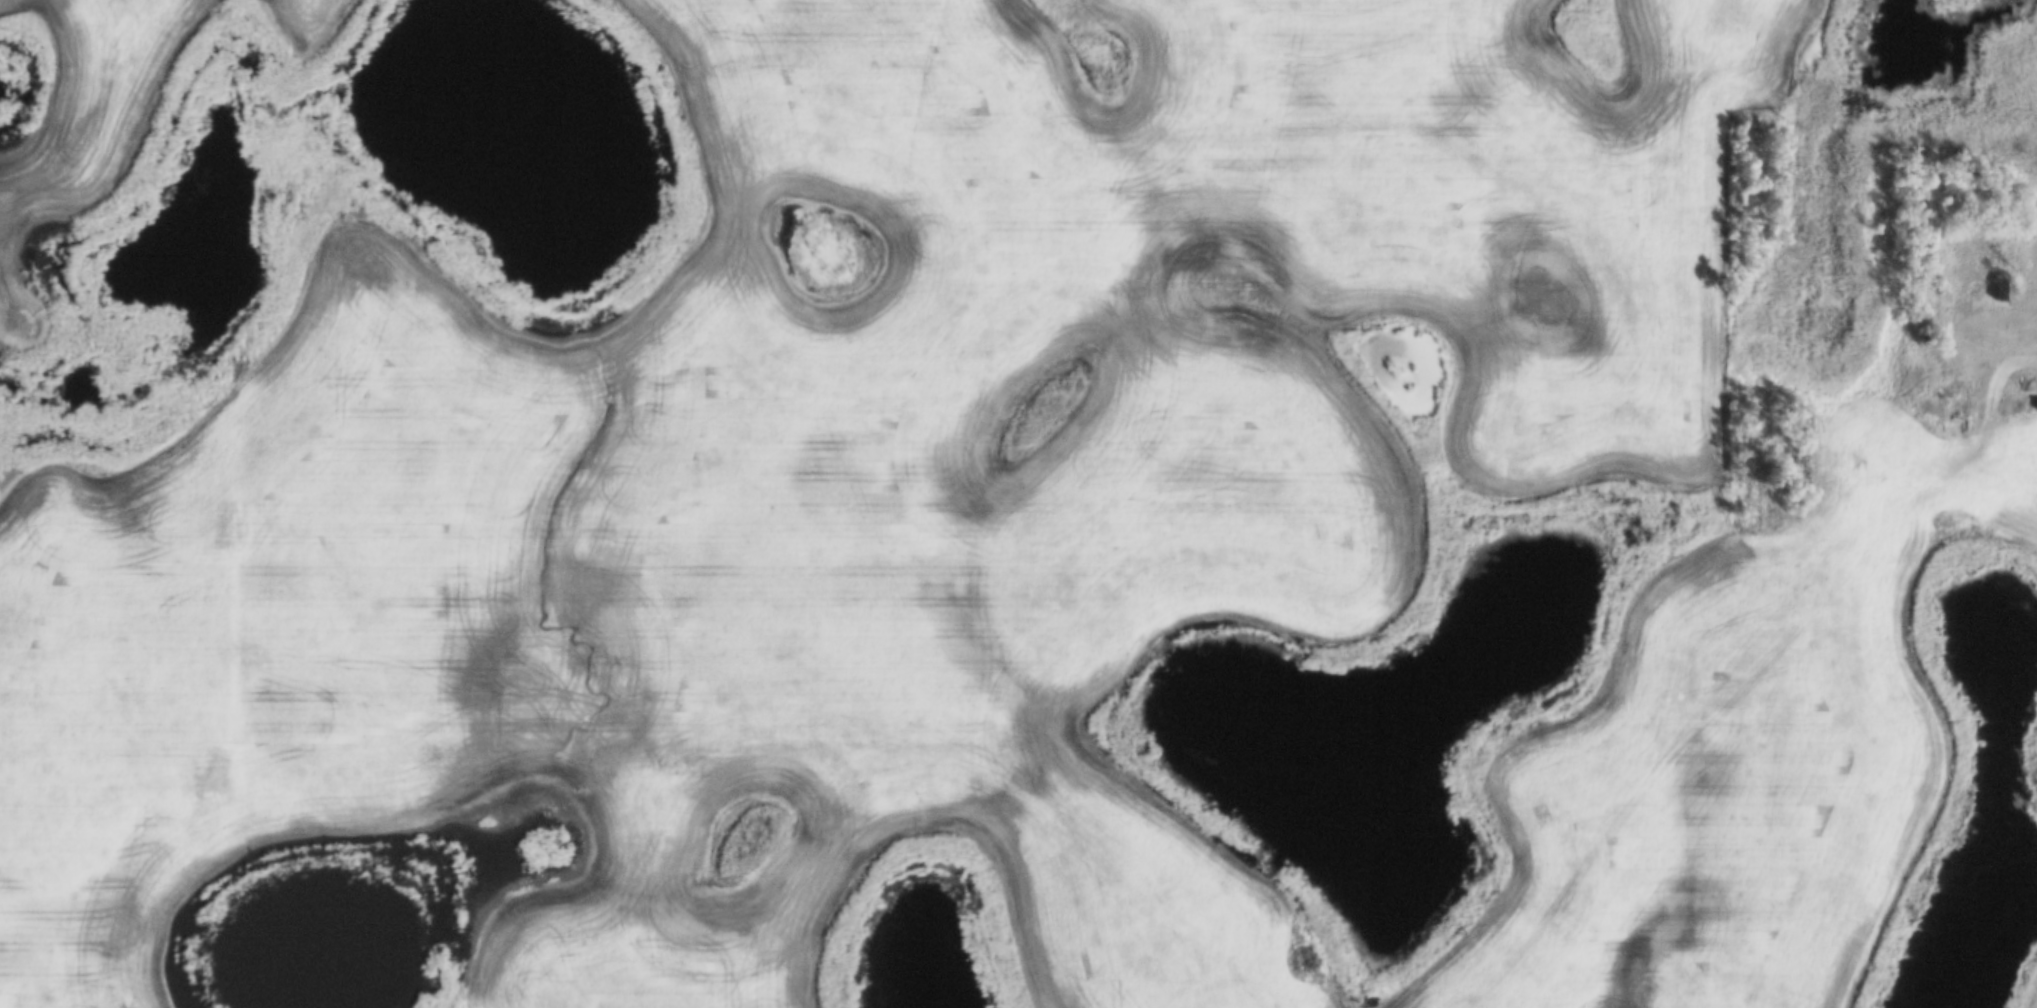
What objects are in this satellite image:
building: (2000, 291)
building: (2023, 383)

